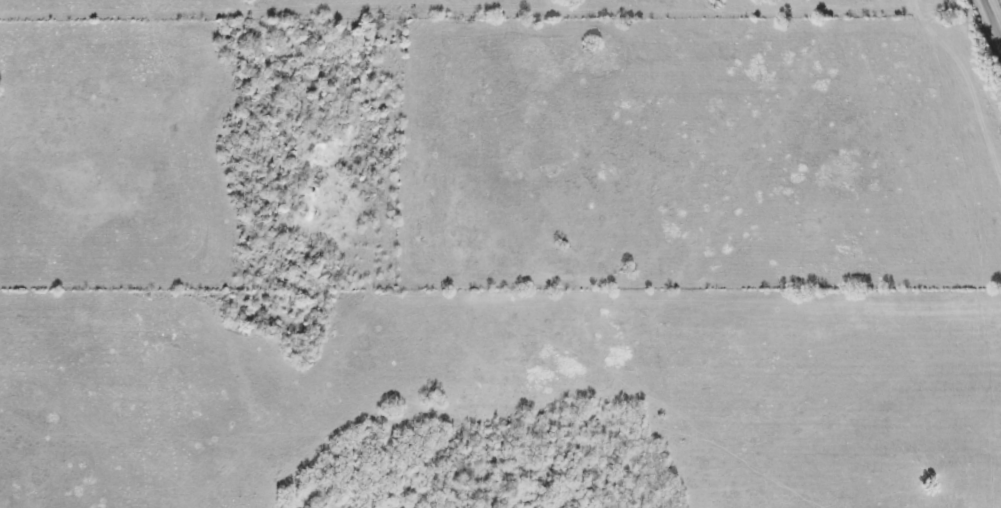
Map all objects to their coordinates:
road: (996, 10)

